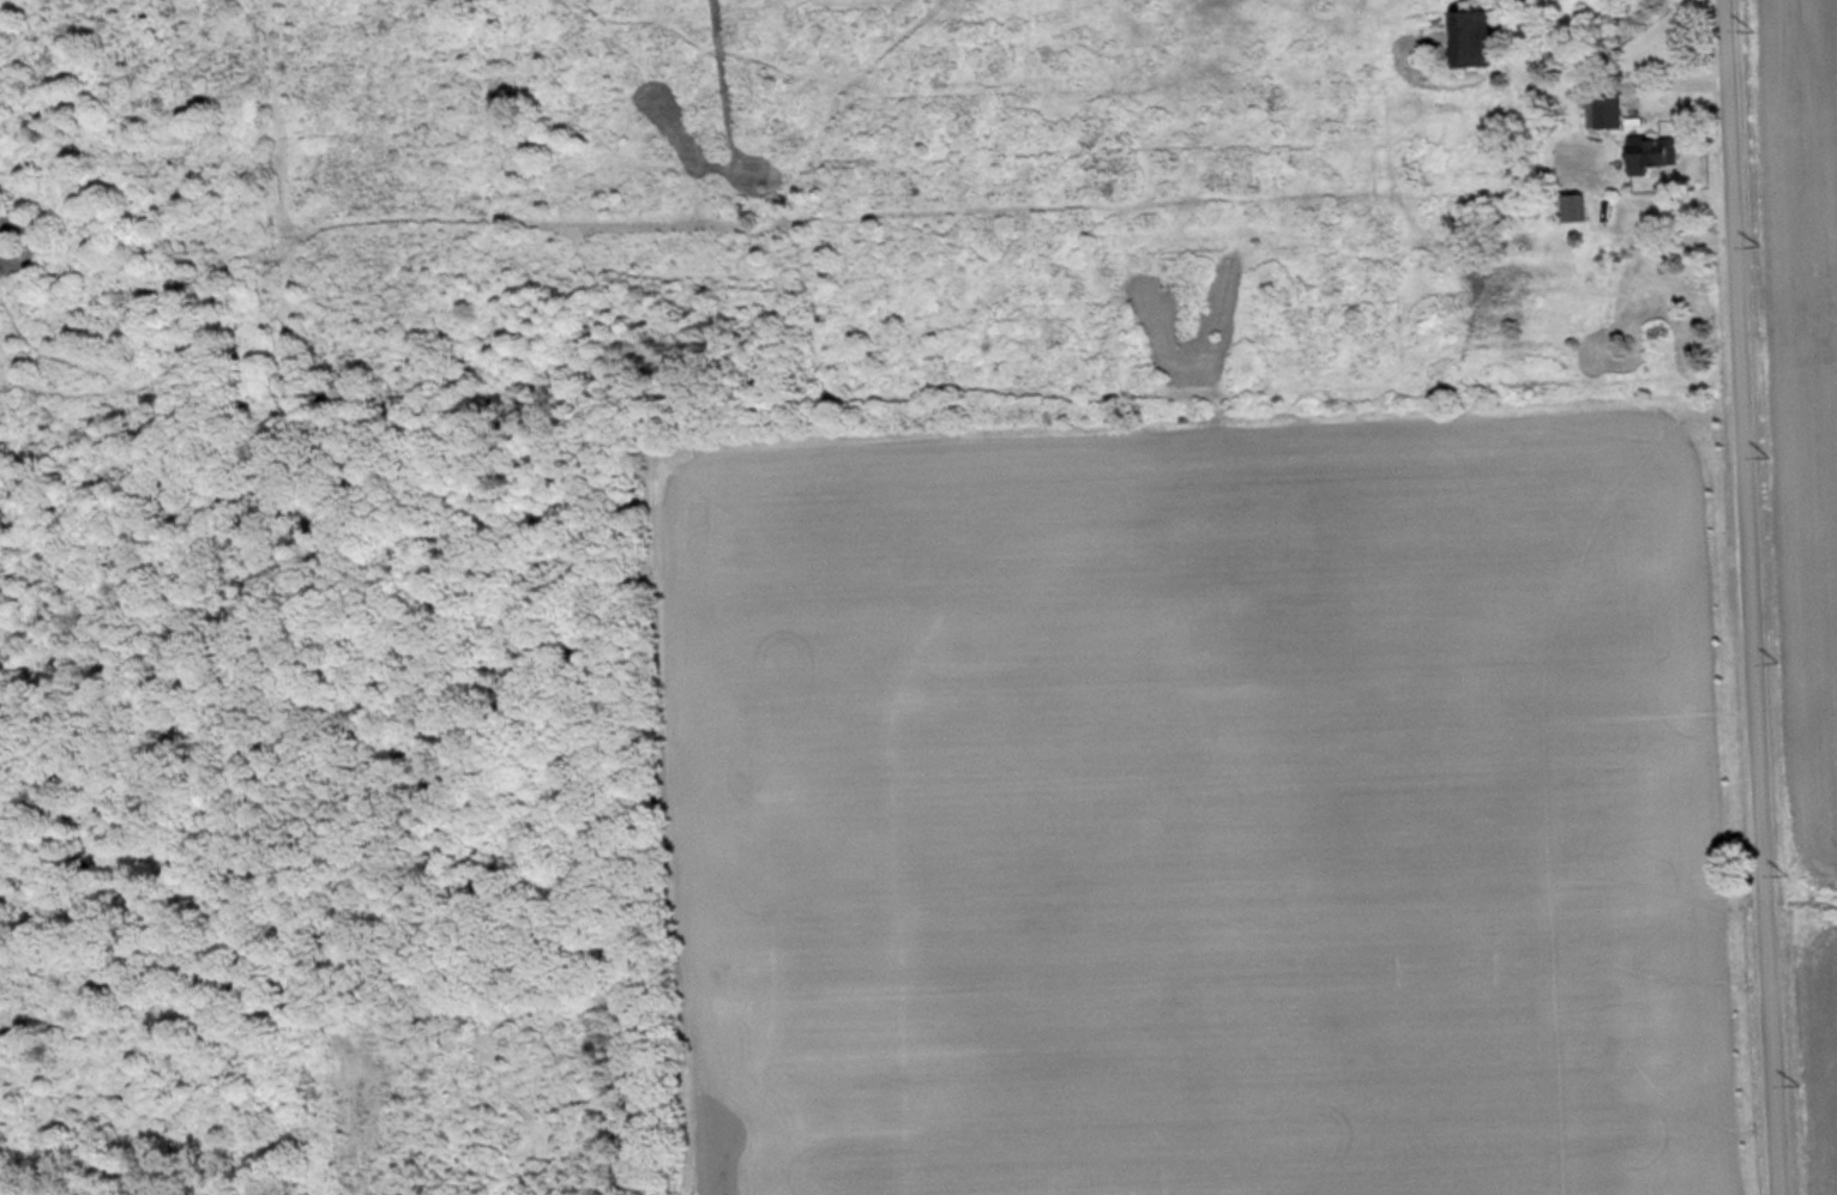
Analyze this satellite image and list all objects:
building: (1486, 41)
building: (1610, 111)
building: (1658, 153)
road: (1748, 597)

